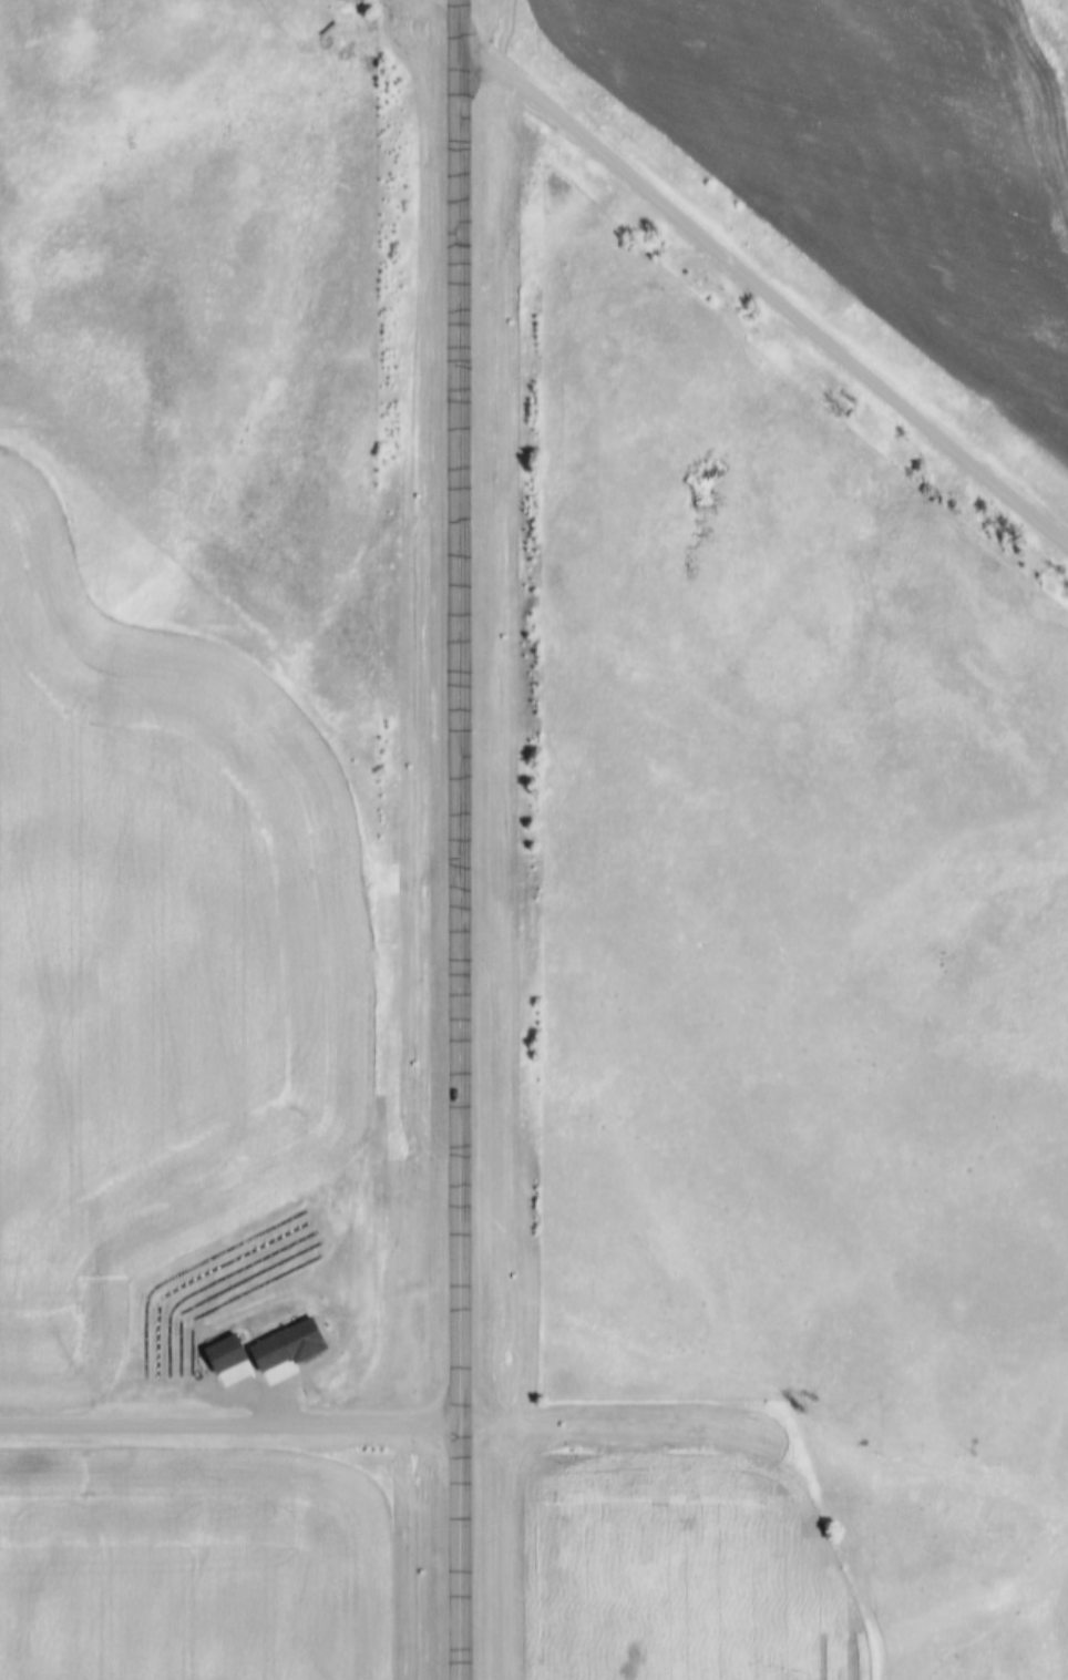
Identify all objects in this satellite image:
road: (624, 78)
road: (767, 289)
road: (466, 840)
road: (232, 1422)

